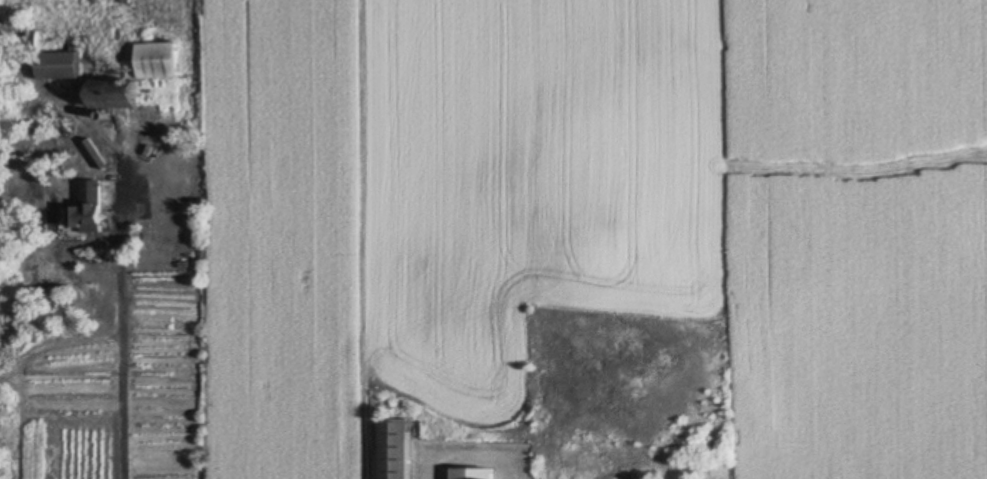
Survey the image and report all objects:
building: (60, 54)
building: (160, 60)
building: (122, 100)
building: (86, 216)
crop: (594, 217)
road: (119, 340)
building: (397, 448)
building: (474, 473)

